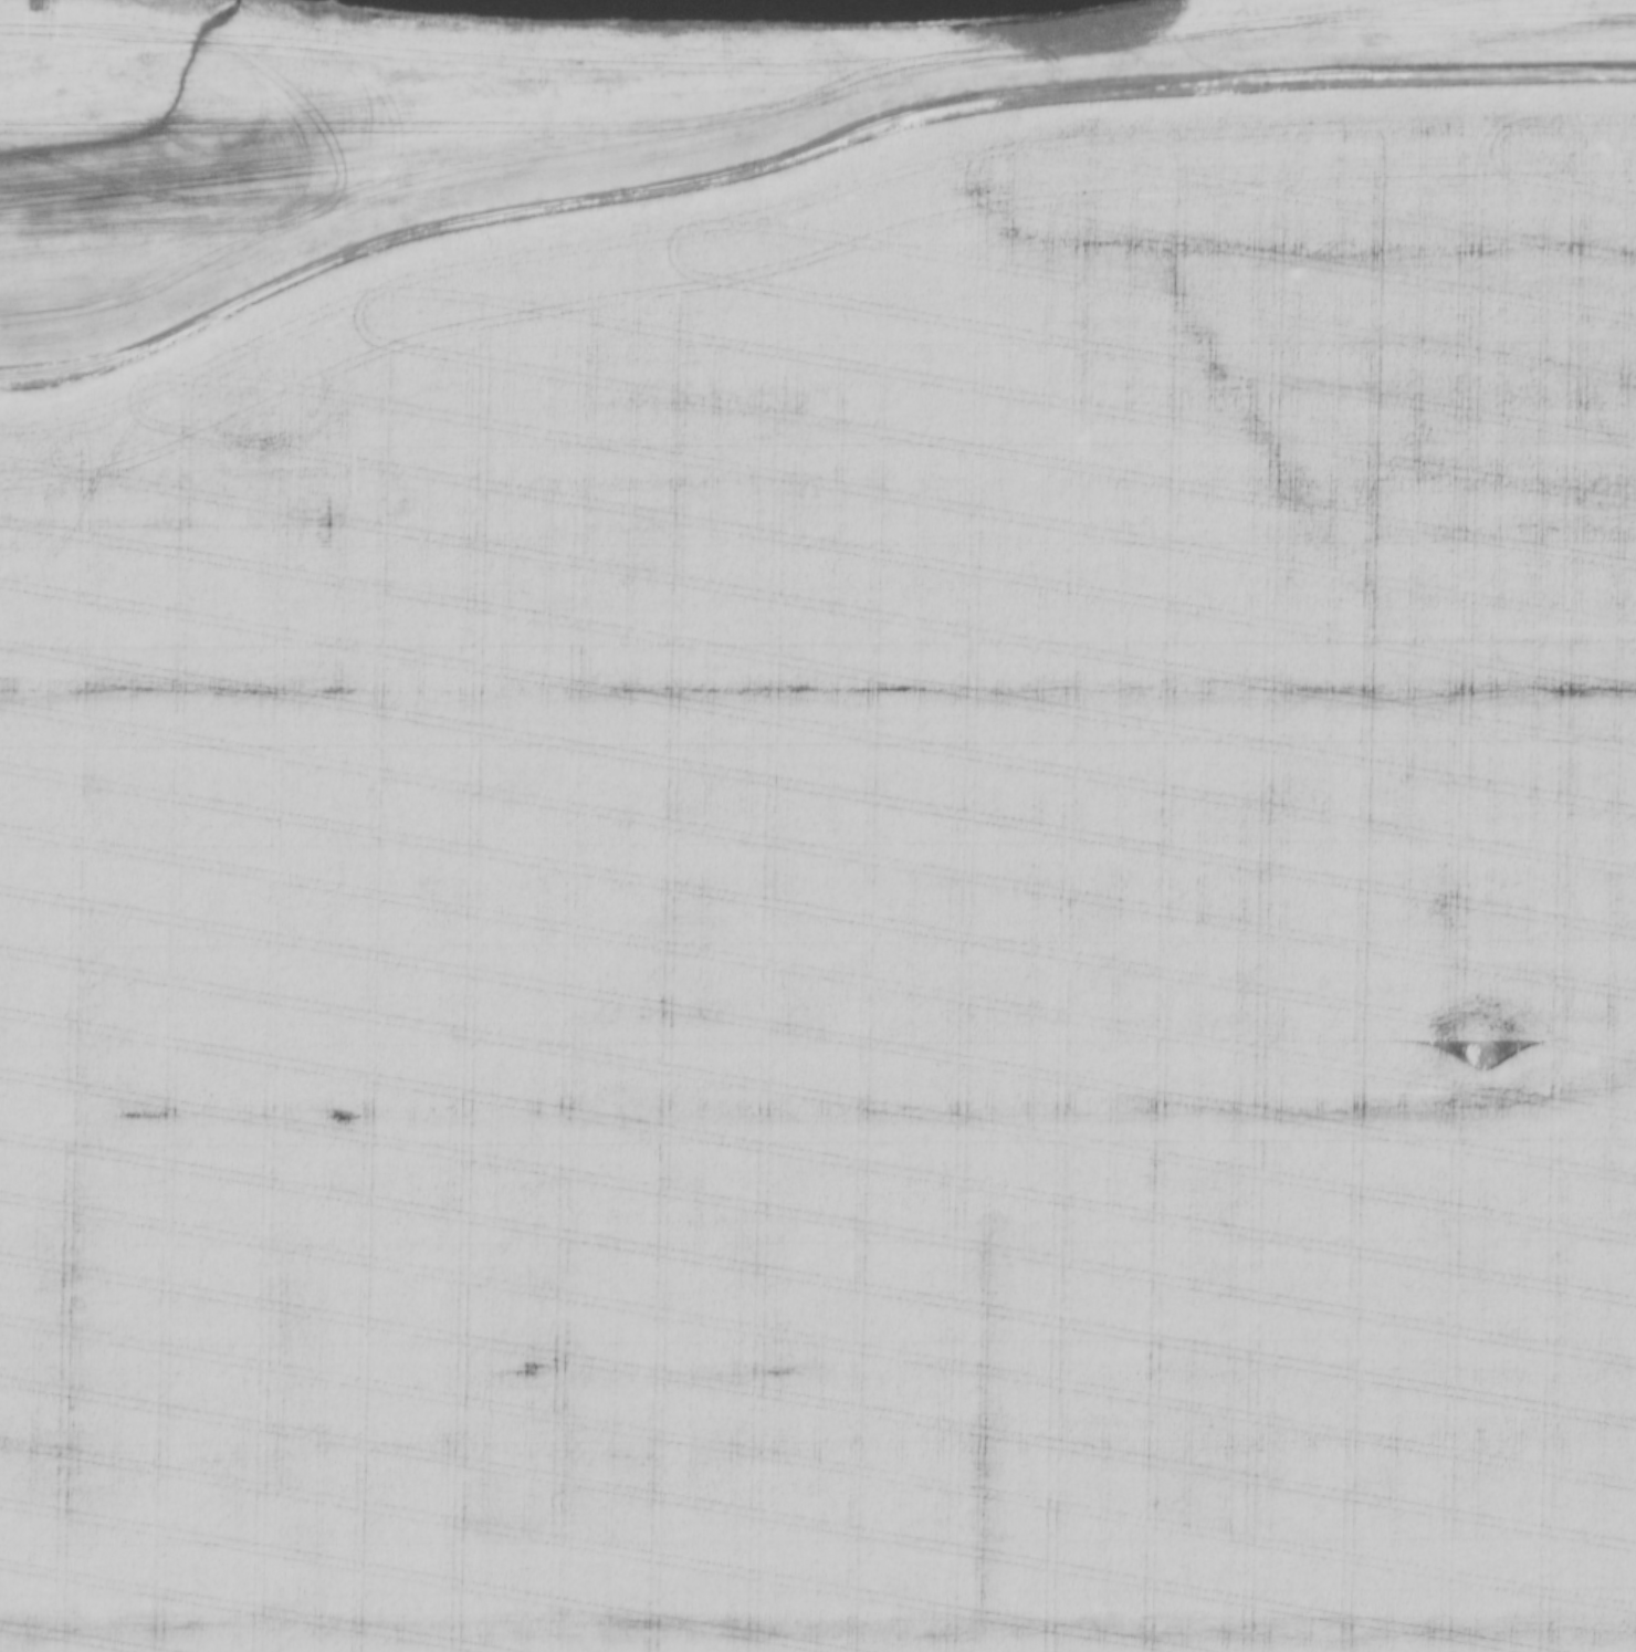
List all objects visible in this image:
crop: (526, 119)
road: (805, 154)
crop: (847, 912)

